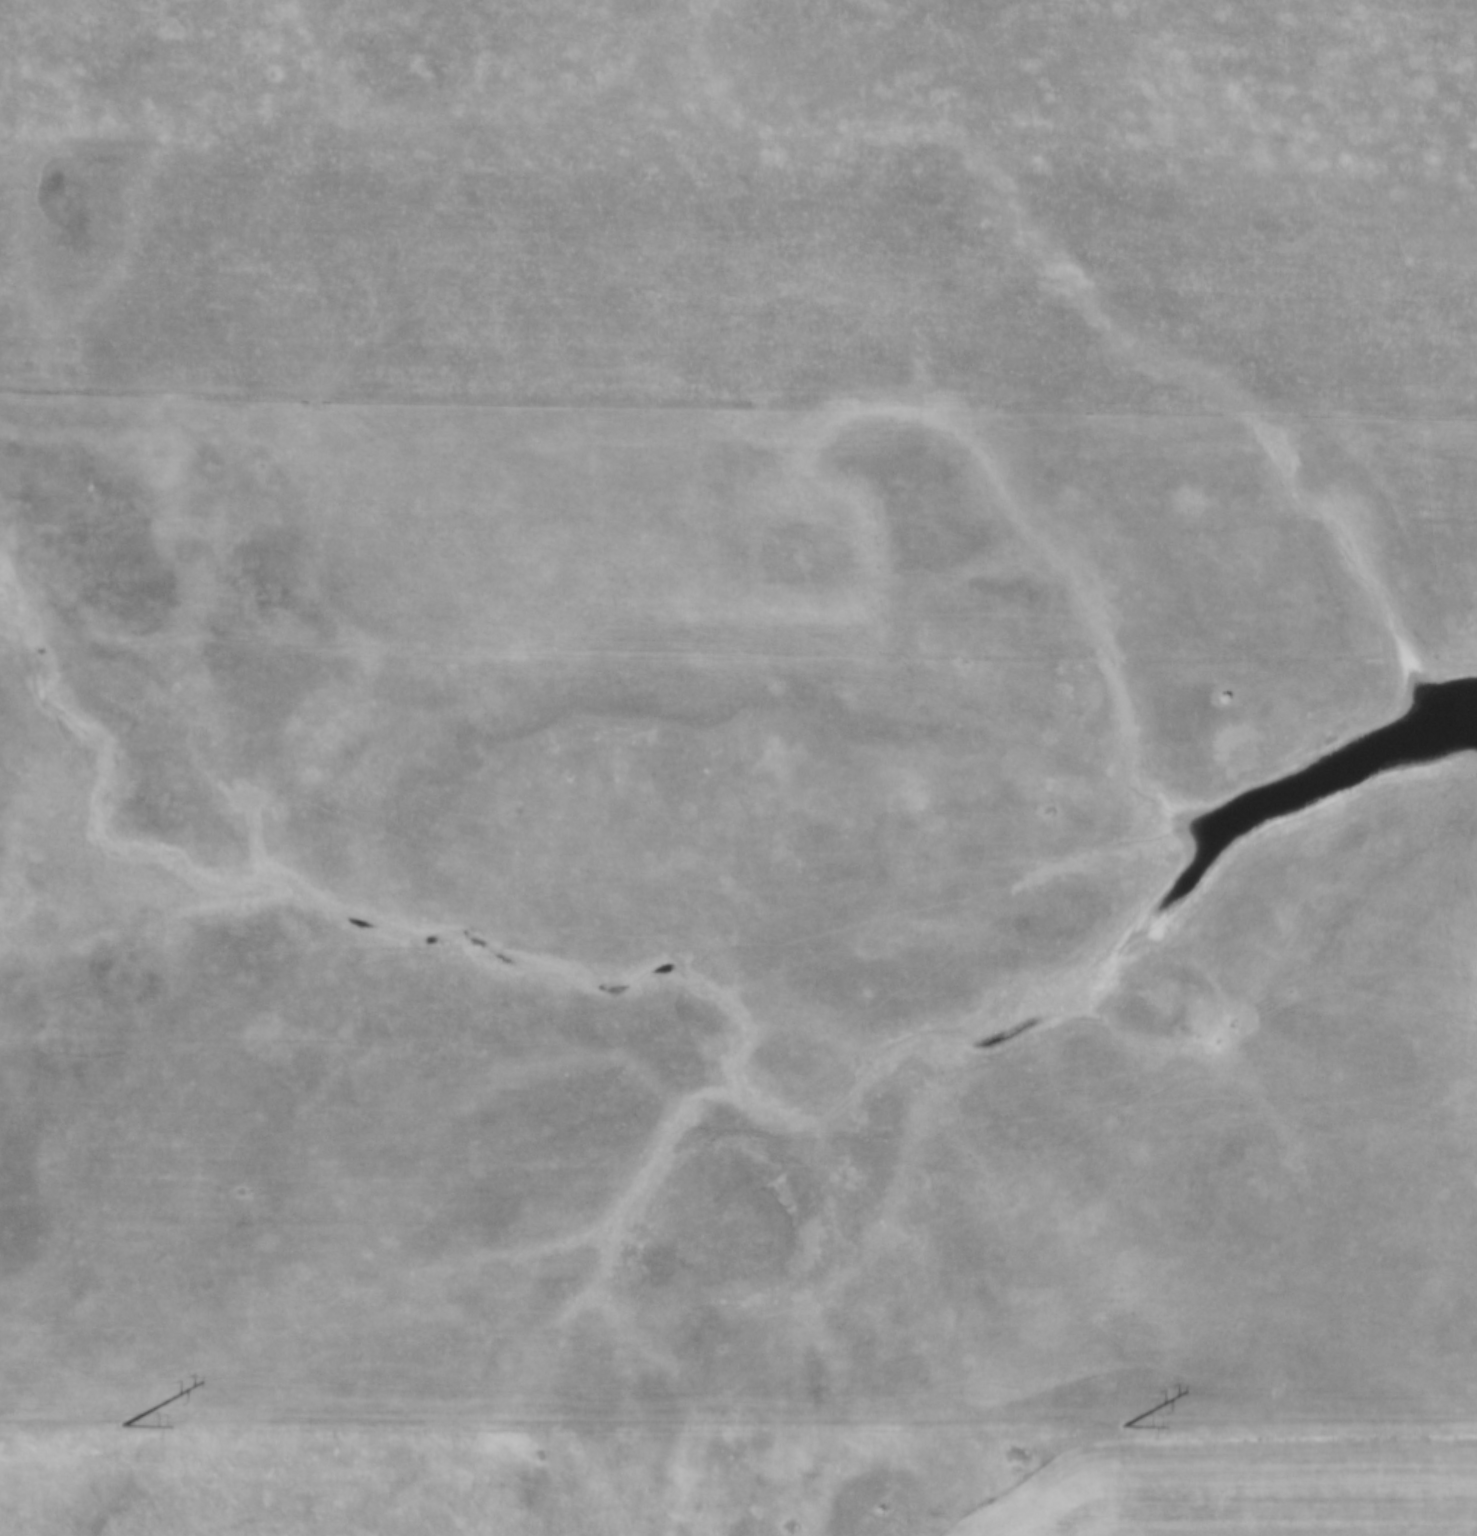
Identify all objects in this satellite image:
power tower: (124, 1420)
power tower: (1123, 1426)

